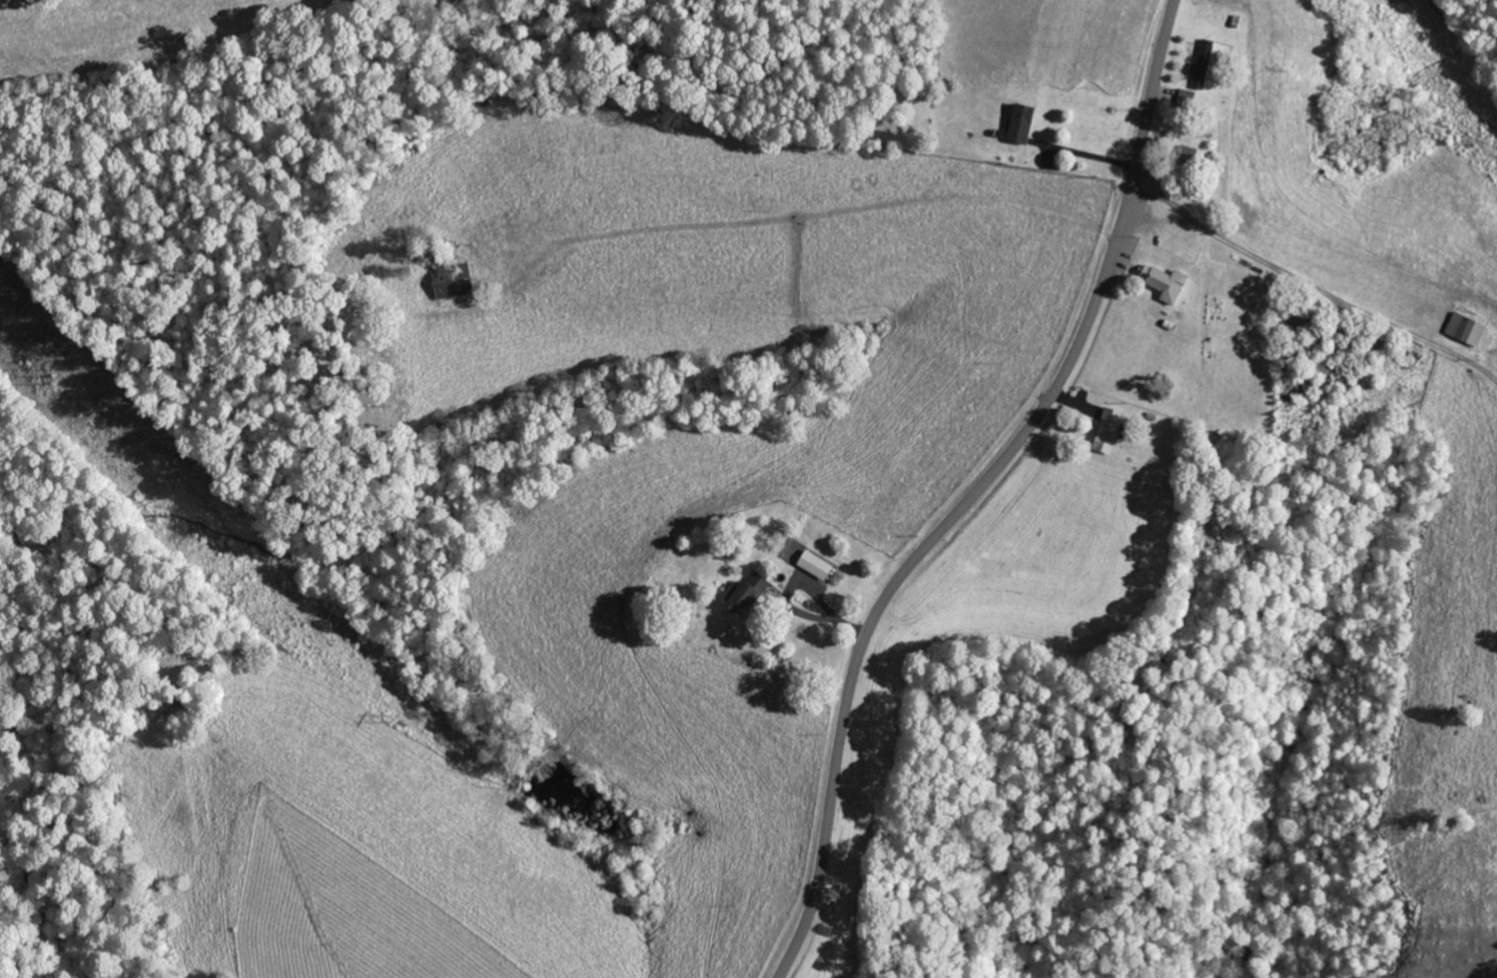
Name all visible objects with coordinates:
building: (1202, 66)
building: (1018, 125)
road: (1425, 253)
building: (456, 283)
building: (1161, 284)
building: (1462, 331)
power tower: (56, 380)
building: (1111, 430)
road: (976, 490)
building: (750, 592)
power tower: (398, 716)

